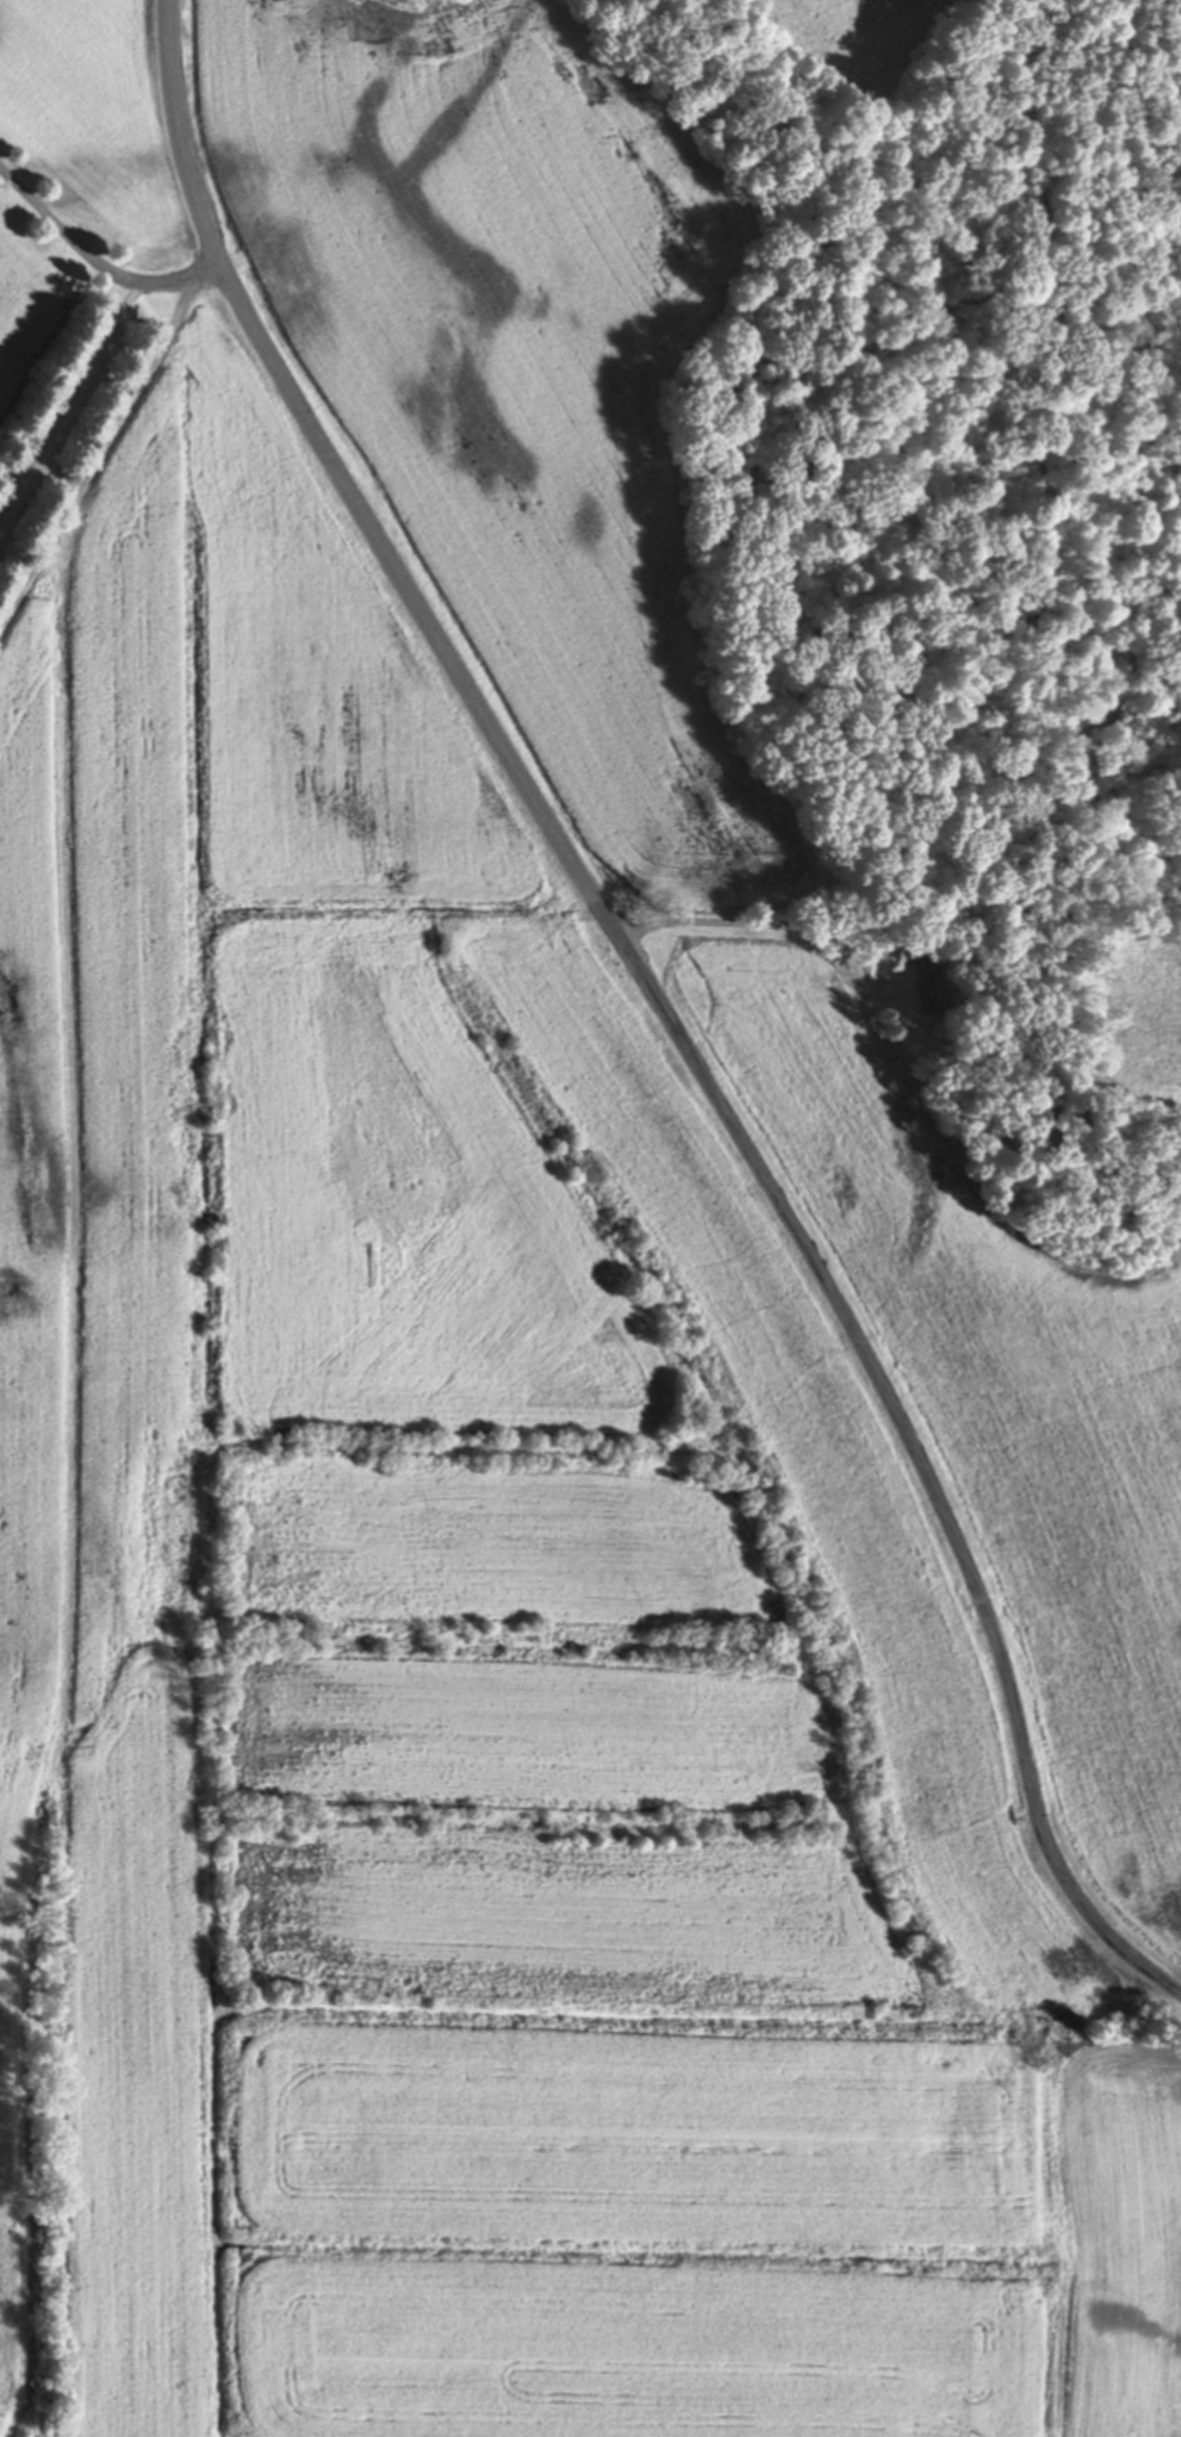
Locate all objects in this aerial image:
road: (95, 266)
road: (69, 412)
road: (710, 921)
building: (919, 991)
road: (659, 1007)

